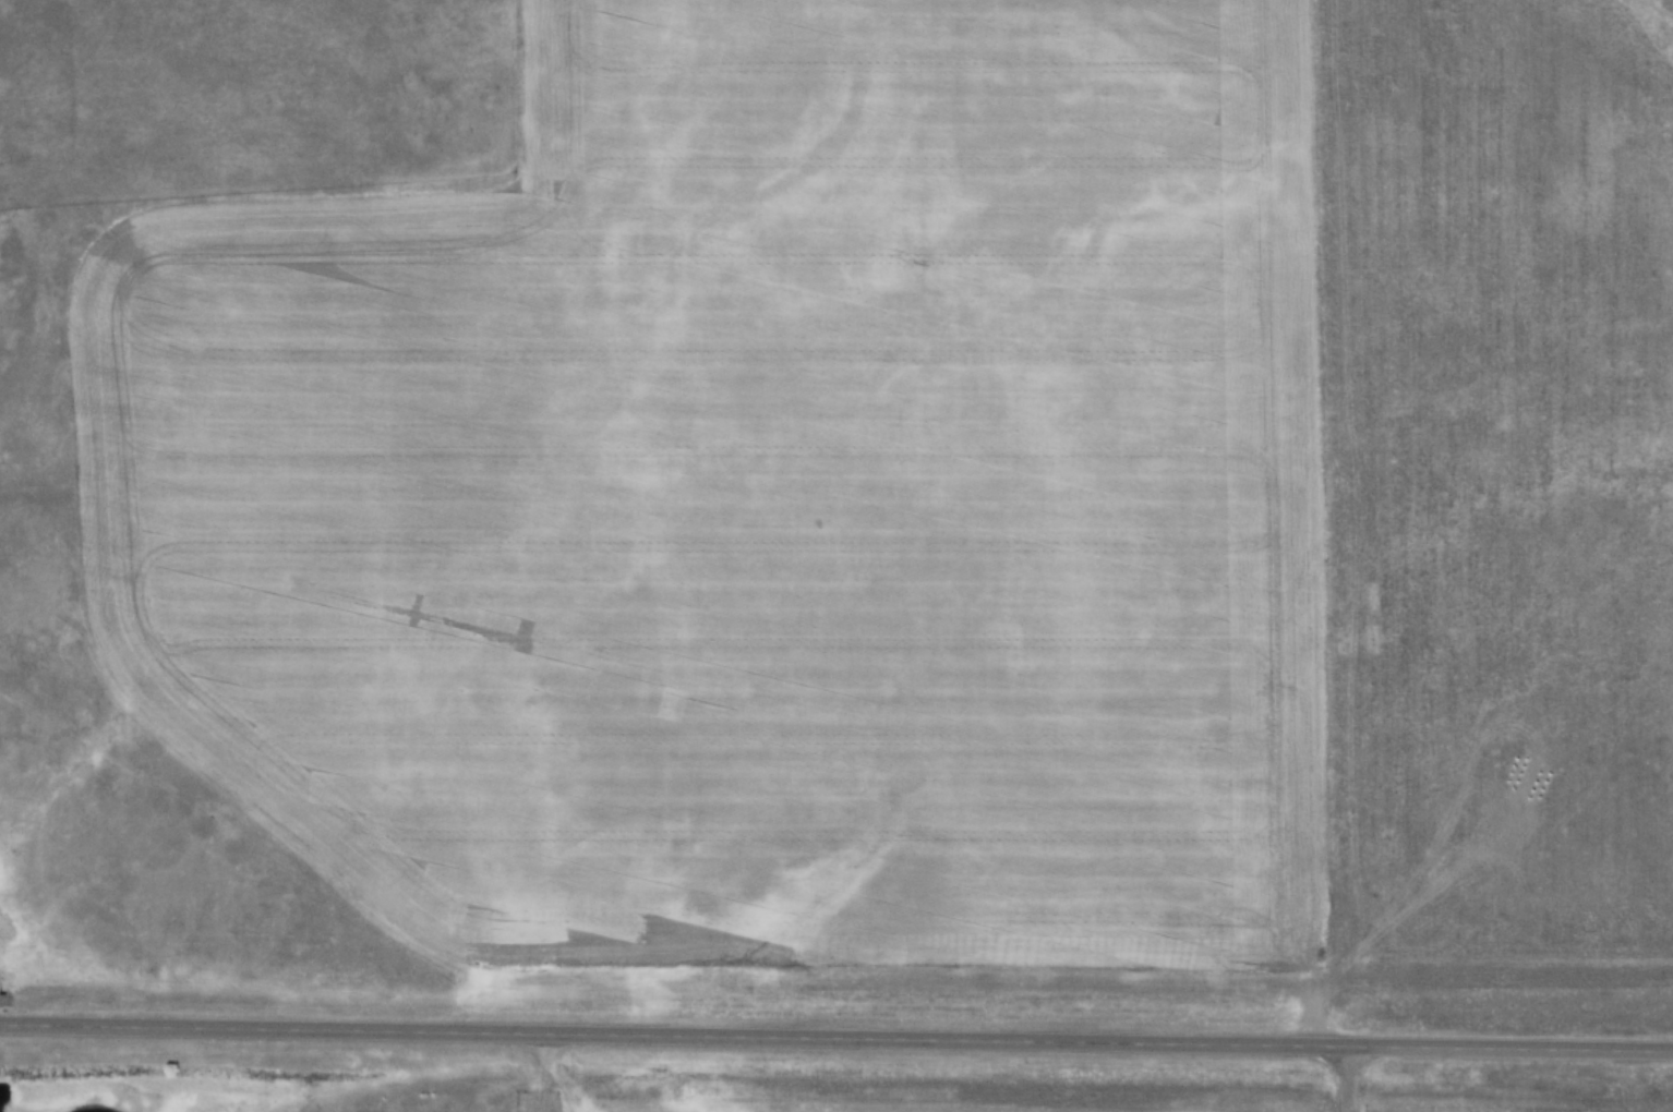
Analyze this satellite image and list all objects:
road: (836, 1031)

